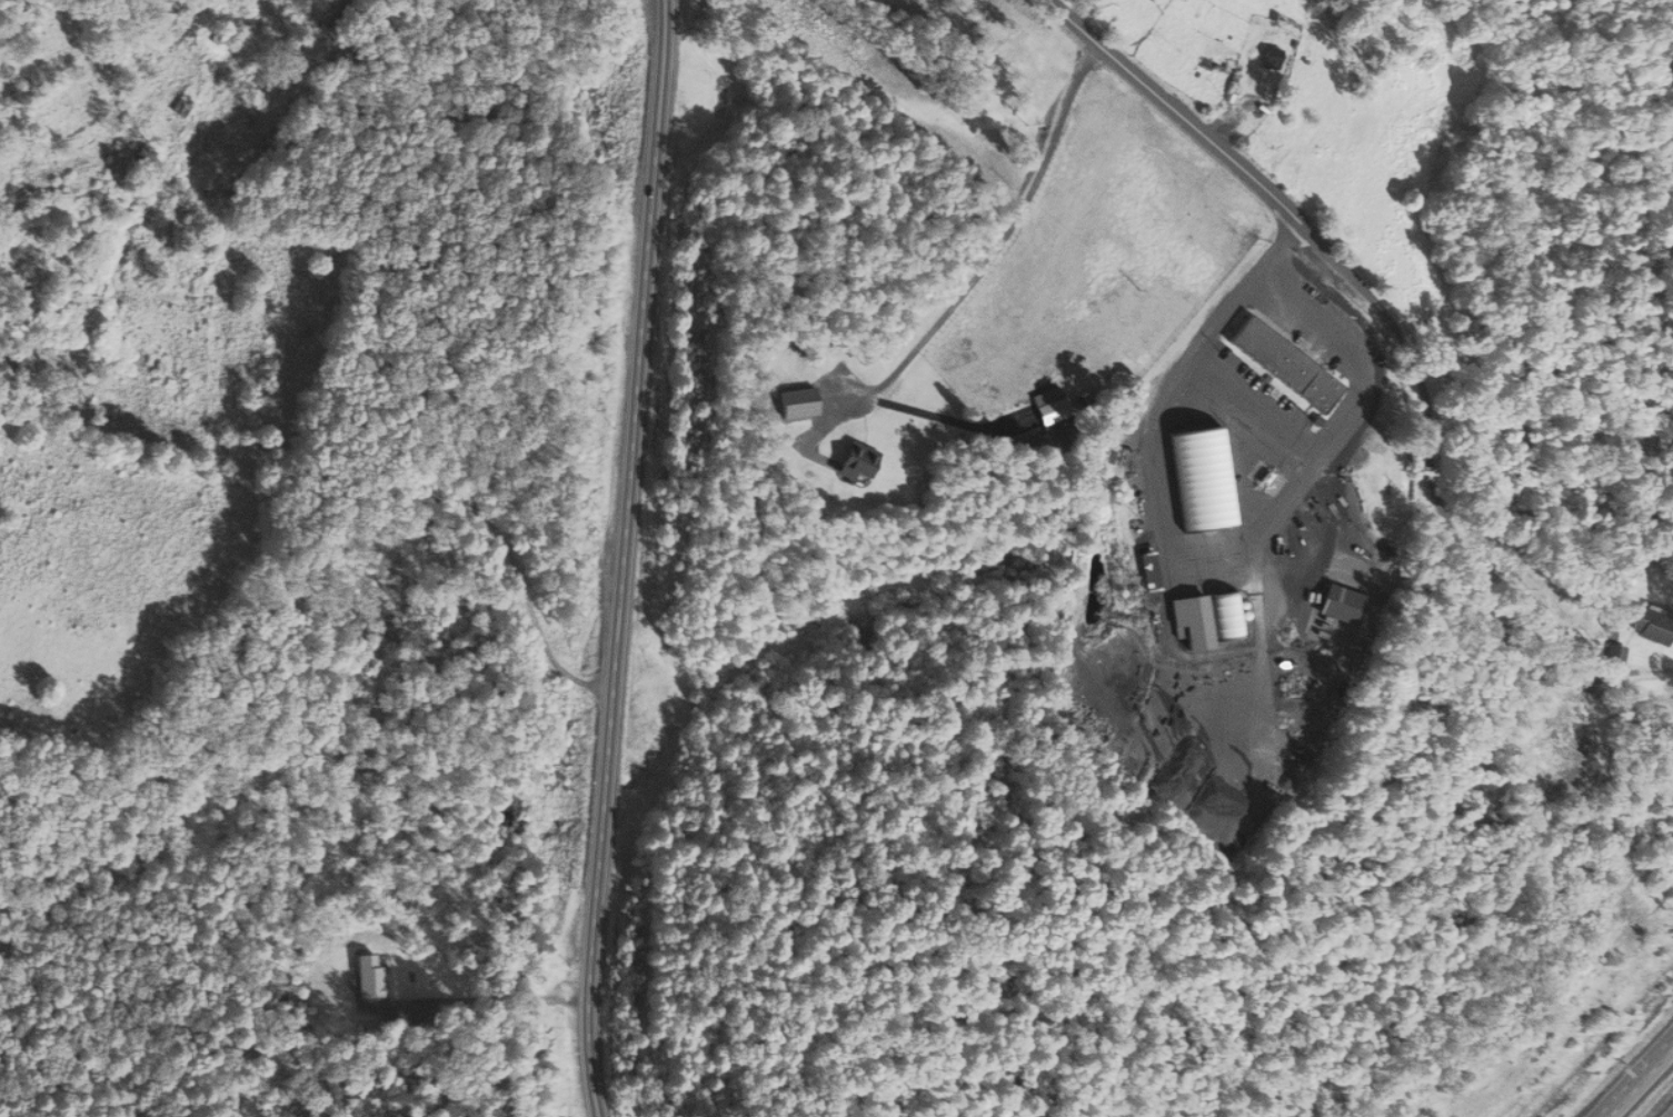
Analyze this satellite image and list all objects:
building: (1271, 59)
building: (179, 104)
building: (143, 156)
road: (998, 237)
road: (1402, 350)
building: (1286, 363)
building: (1053, 411)
building: (864, 460)
road: (623, 558)
building: (1152, 570)
building: (1351, 604)
building: (1208, 618)
building: (1659, 621)
road: (1639, 1080)

